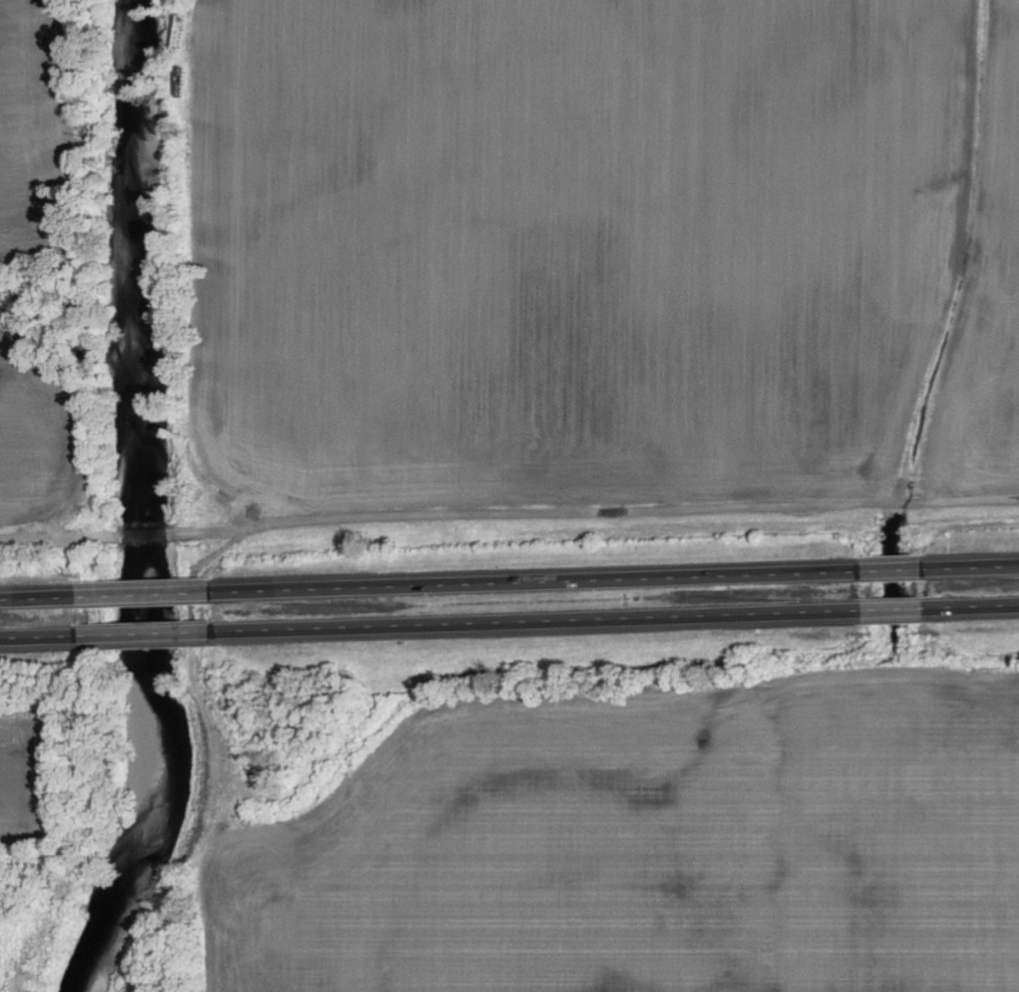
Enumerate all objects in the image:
road: (971, 564)
road: (893, 567)
road: (537, 578)
road: (147, 591)
road: (41, 595)
road: (973, 609)
road: (895, 612)
road: (539, 624)
road: (148, 633)
road: (41, 636)

